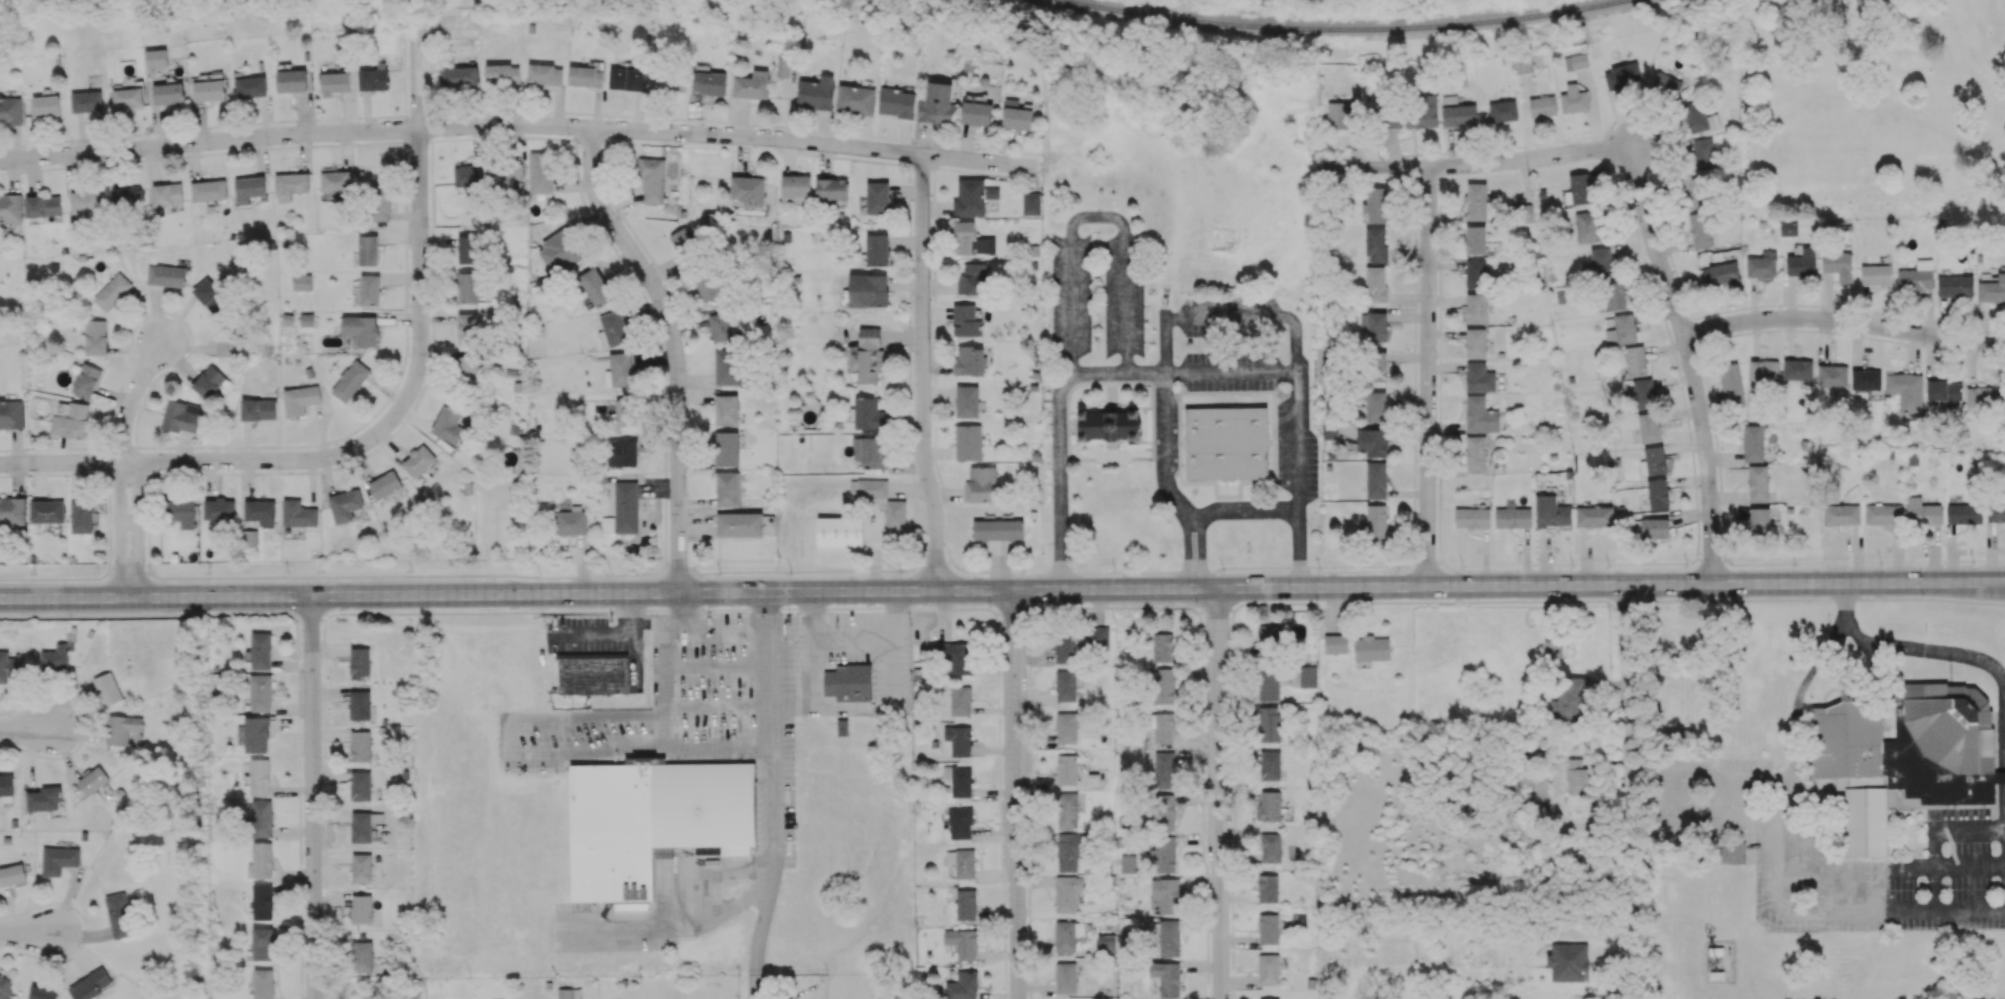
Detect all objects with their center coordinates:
park: (2003, 4)
railway: (1346, 29)
building: (156, 57)
building: (1576, 61)
building: (1523, 63)
building: (784, 67)
building: (503, 74)
building: (545, 74)
building: (459, 75)
building: (586, 76)
building: (1622, 76)
building: (627, 78)
building: (374, 79)
building: (292, 80)
building: (334, 82)
building: (709, 82)
building: (668, 83)
building: (752, 84)
building: (1666, 85)
building: (251, 86)
building: (209, 89)
building: (168, 93)
building: (816, 93)
building: (128, 97)
building: (855, 99)
building: (1574, 99)
building: (86, 101)
building: (896, 102)
building: (937, 103)
building: (46, 105)
building: (1543, 106)
building: (11, 110)
building: (977, 110)
park: (1873, 110)
building: (1503, 111)
building: (1423, 112)
building: (1341, 113)
building: (1016, 115)
building: (1459, 115)
building: (1699, 117)
building: (1391, 119)
road: (521, 124)
building: (1704, 153)
road: (1478, 163)
building: (539, 172)
building: (466, 175)
building: (651, 178)
building: (334, 179)
building: (505, 179)
building: (290, 185)
building: (796, 187)
building: (249, 188)
building: (1693, 188)
building: (832, 189)
building: (1580, 189)
building: (209, 190)
building: (748, 190)
building: (992, 192)
building: (127, 196)
building: (166, 196)
building: (877, 198)
building: (970, 198)
building: (379, 201)
building: (1476, 201)
building: (86, 202)
building: (1031, 203)
building: (1376, 205)
building: (43, 206)
building: (10, 208)
building: (1588, 226)
building: (1788, 227)
road: (419, 230)
building: (1700, 230)
building: (682, 239)
building: (1475, 239)
building: (972, 240)
building: (1375, 245)
building: (468, 249)
building: (877, 249)
building: (367, 250)
building: (559, 252)
building: (1802, 262)
building: (1599, 263)
building: (1762, 265)
building: (1838, 265)
building: (1476, 273)
building: (1724, 273)
building: (1876, 274)
building: (166, 275)
building: (1917, 276)
building: (973, 279)
building: (302, 282)
building: (1375, 284)
building: (468, 286)
building: (595, 286)
building: (1955, 286)
building: (709, 287)
building: (369, 289)
building: (868, 290)
building: (112, 291)
building: (1613, 295)
building: (210, 296)
building: (1218, 306)
building: (1476, 308)
building: (307, 319)
building: (966, 320)
road: (1843, 320)
building: (1374, 325)
building: (721, 326)
building: (468, 328)
building: (361, 329)
building: (614, 329)
building: (1622, 330)
building: (96, 337)
building: (226, 341)
building: (1476, 342)
road: (674, 350)
building: (867, 355)
building: (970, 360)
building: (1635, 361)
road: (1690, 364)
building: (727, 366)
building: (1376, 366)
building: (622, 369)
road: (1182, 369)
building: (1798, 369)
building: (466, 370)
building: (1764, 370)
road: (922, 373)
building: (1833, 375)
road: (1427, 376)
building: (1479, 377)
building: (1866, 379)
building: (87, 380)
building: (351, 380)
building: (208, 381)
building: (1731, 384)
building: (1906, 390)
building: (1945, 392)
building: (1644, 393)
road: (131, 397)
building: (1985, 398)
building: (300, 399)
building: (967, 401)
building: (1376, 406)
building: (258, 409)
building: (726, 409)
building: (623, 411)
building: (11, 413)
building: (869, 414)
building: (1480, 415)
building: (183, 416)
building: (71, 421)
building: (1110, 424)
building: (448, 425)
building: (1649, 427)
building: (1329, 430)
building: (968, 441)
building: (1372, 442)
building: (1753, 442)
building: (1226, 443)
building: (726, 448)
building: (871, 451)
building: (622, 452)
building: (1476, 454)
road: (197, 460)
building: (418, 460)
building: (1653, 461)
building: (1376, 480)
building: (983, 483)
building: (1758, 483)
road: (1165, 484)
building: (385, 485)
building: (869, 488)
building: (727, 489)
building: (1658, 493)
building: (345, 505)
building: (626, 506)
building: (219, 509)
building: (12, 511)
building: (47, 511)
road: (1245, 511)
building: (1551, 511)
building: (181, 512)
building: (261, 512)
building: (1922, 512)
building: (1996, 512)
building: (298, 513)
building: (1964, 513)
building: (895, 514)
building: (1883, 514)
building: (1841, 515)
building: (82, 516)
building: (1594, 516)
building: (1472, 517)
building: (1513, 517)
building: (572, 520)
building: (1759, 521)
building: (739, 524)
road: (139, 526)
building: (1378, 526)
building: (1655, 527)
road: (121, 528)
building: (998, 529)
building: (249, 537)
road: (1157, 589)
road: (154, 595)
road: (728, 624)
building: (1098, 637)
parking lot: (599, 639)
building: (1269, 640)
building: (1335, 643)
building: (1068, 645)
building: (1163, 647)
building: (1372, 648)
building: (1553, 648)
road: (1906, 648)
building: (261, 650)
building: (951, 655)
building: (55, 657)
building: (359, 662)
building: (9, 665)
building: (594, 674)
building: (1308, 676)
building: (854, 681)
building: (1268, 683)
building: (1066, 685)
building: (1160, 686)
building: (107, 688)
building: (261, 692)
building: (1569, 698)
building: (960, 700)
building: (360, 705)
road: (667, 718)
building: (1269, 724)
building: (1161, 726)
building: (1066, 727)
building: (121, 728)
road: (28, 729)
building: (254, 734)
building: (1679, 737)
building: (959, 739)
building: (360, 745)
building: (1905, 754)
building: (1270, 765)
building: (1067, 769)
building: (1165, 769)
building: (260, 776)
building: (1576, 777)
building: (92, 780)
building: (959, 780)
road: (1628, 781)
building: (6, 784)
building: (361, 785)
road: (1218, 793)
road: (1020, 794)
road: (777, 796)
road: (311, 797)
building: (44, 798)
building: (1270, 805)
building: (1067, 810)
building: (1164, 811)
building: (262, 818)
building: (652, 819)
building: (960, 823)
building: (361, 827)
building: (1271, 847)
building: (1069, 851)
building: (1732, 852)
building: (1164, 854)
building: (262, 859)
building: (58, 860)
building: (962, 862)
building: (1127, 863)
building: (361, 868)
building: (12, 874)
building: (1267, 888)
road: (1769, 889)
building: (1068, 892)
building: (1166, 894)
building: (262, 901)
building: (966, 904)
building: (361, 908)
building: (119, 915)
building: (1268, 928)
road: (29, 933)
building: (1067, 934)
building: (1169, 937)
building: (962, 942)
building: (262, 943)
building: (1106, 943)
building: (362, 956)
building: (1568, 962)
building: (1269, 969)
building: (1066, 977)
building: (1167, 977)
building: (263, 983)
building: (91, 984)
building: (963, 986)
building: (5, 987)
building: (42, 993)
building: (569, 993)
building: (1270, 998)

